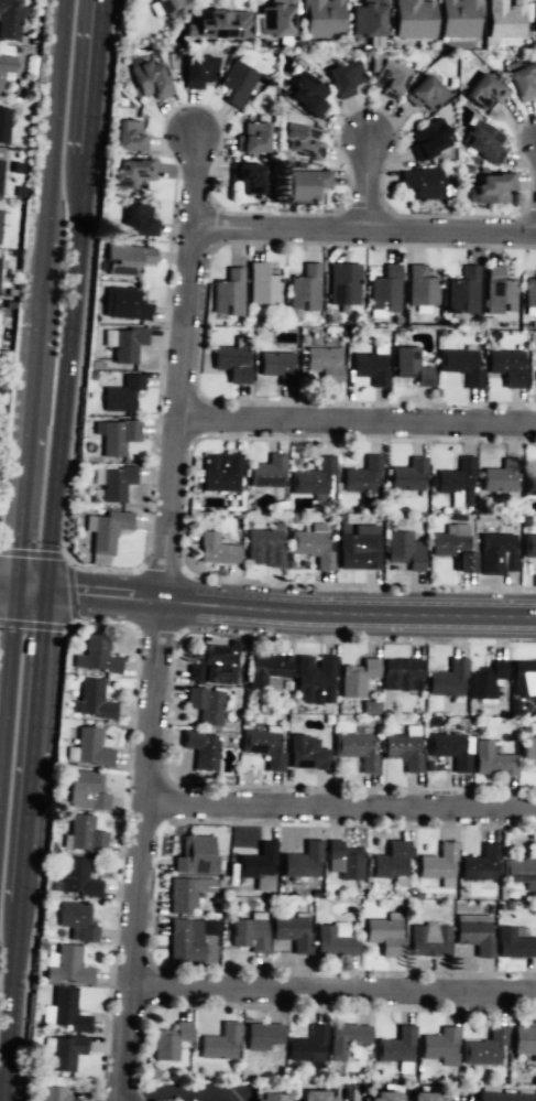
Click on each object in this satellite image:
building: (166, 6)
building: (10, 18)
building: (320, 18)
building: (273, 19)
building: (364, 19)
building: (411, 19)
building: (457, 19)
building: (503, 19)
building: (534, 21)
building: (219, 25)
building: (4, 62)
building: (196, 71)
road: (91, 75)
building: (341, 76)
building: (238, 78)
building: (147, 79)
building: (386, 79)
building: (522, 82)
building: (483, 90)
building: (422, 93)
building: (307, 94)
road: (52, 119)
building: (4, 123)
building: (127, 134)
building: (427, 136)
building: (250, 139)
building: (303, 141)
building: (482, 141)
building: (1, 172)
building: (131, 173)
building: (247, 177)
road: (370, 180)
building: (420, 181)
building: (306, 184)
building: (492, 186)
building: (136, 219)
building: (1, 224)
road: (363, 227)
building: (127, 258)
road: (39, 281)
building: (344, 282)
building: (385, 283)
building: (262, 284)
building: (420, 287)
building: (305, 289)
building: (462, 290)
building: (499, 290)
building: (227, 291)
building: (529, 293)
building: (127, 303)
building: (125, 344)
building: (232, 364)
building: (324, 364)
building: (371, 364)
building: (460, 364)
building: (278, 365)
building: (411, 365)
building: (506, 365)
road: (65, 371)
building: (122, 392)
road: (357, 417)
building: (118, 435)
road: (24, 456)
building: (217, 473)
building: (267, 473)
building: (363, 475)
building: (407, 476)
building: (314, 477)
building: (499, 477)
building: (456, 479)
building: (116, 482)
building: (533, 483)
building: (106, 530)
building: (263, 546)
building: (310, 548)
building: (453, 548)
building: (528, 548)
building: (215, 550)
building: (357, 550)
building: (404, 550)
building: (495, 551)
road: (32, 552)
road: (67, 558)
road: (7, 590)
traffic signals: (14, 590)
road: (70, 590)
road: (30, 591)
traffic signals: (45, 593)
road: (105, 595)
road: (350, 614)
road: (163, 616)
road: (85, 620)
road: (31, 625)
building: (95, 657)
building: (210, 666)
building: (265, 669)
building: (401, 673)
road: (7, 677)
building: (447, 677)
building: (522, 677)
building: (355, 678)
building: (485, 679)
building: (315, 680)
building: (91, 702)
building: (206, 705)
building: (369, 708)
road: (33, 728)
building: (88, 747)
building: (263, 747)
building: (200, 748)
building: (449, 748)
building: (526, 748)
building: (355, 749)
building: (403, 751)
building: (305, 752)
building: (491, 758)
building: (88, 792)
road: (340, 805)
building: (84, 832)
building: (190, 851)
building: (258, 860)
building: (344, 860)
building: (391, 860)
building: (302, 861)
building: (435, 862)
building: (480, 862)
building: (519, 868)
building: (77, 878)
road: (20, 884)
building: (186, 892)
building: (76, 921)
building: (291, 931)
building: (248, 933)
building: (383, 936)
building: (474, 937)
building: (429, 941)
building: (512, 941)
building: (333, 943)
building: (182, 945)
building: (67, 967)
road: (333, 991)
road: (10, 1001)
building: (65, 1010)
building: (261, 1037)
building: (525, 1038)
building: (346, 1039)
building: (171, 1043)
building: (217, 1044)
building: (307, 1046)
building: (440, 1046)
building: (396, 1047)
building: (483, 1047)
building: (63, 1050)
road: (190, 1089)
parking lot: (194, 1091)
parking lot: (348, 1092)
parking lot: (459, 1092)
road: (344, 1093)
building: (314, 1094)
building: (47, 1095)
road: (457, 1095)
building: (384, 1097)
building: (422, 1097)
building: (503, 1097)
building: (266, 1098)

